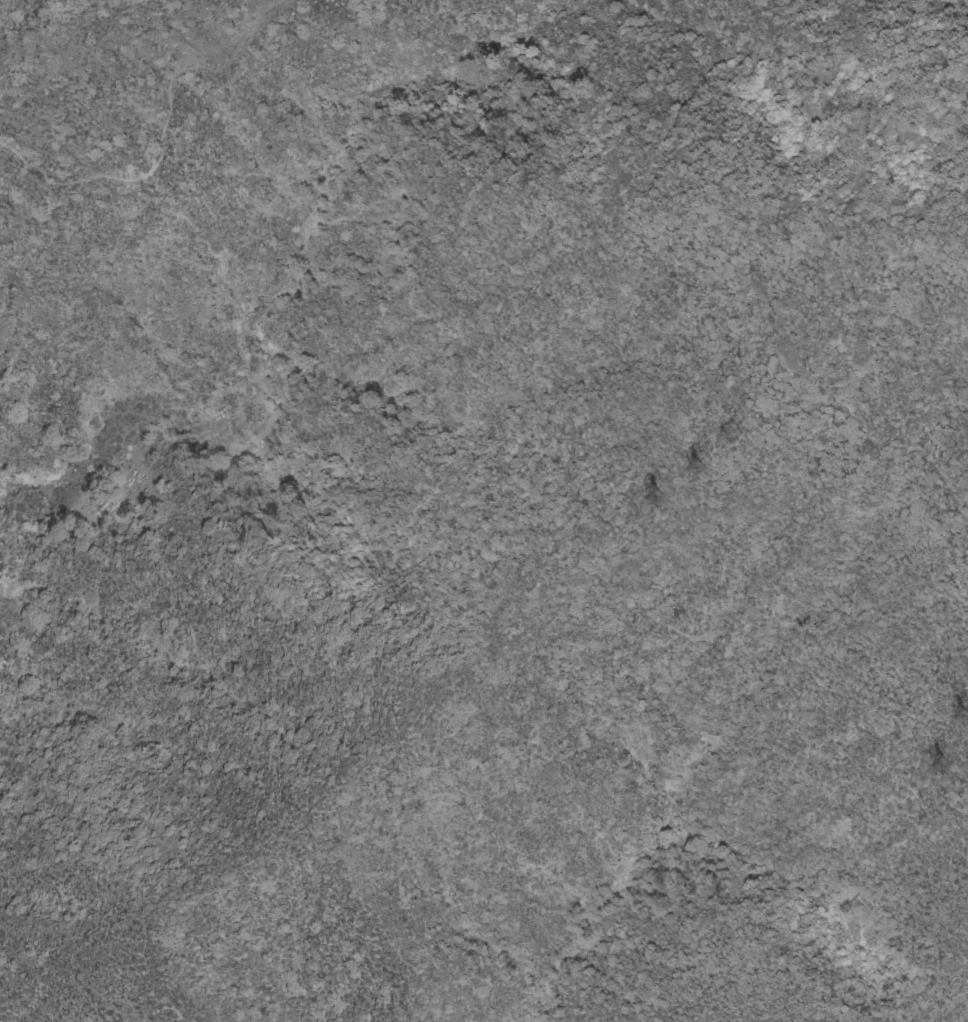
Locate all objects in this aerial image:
road: (180, 135)
road: (732, 303)
power tower: (735, 435)
power tower: (690, 475)
power tower: (656, 504)
dam: (1, 598)
power tower: (955, 722)
power tower: (944, 773)

